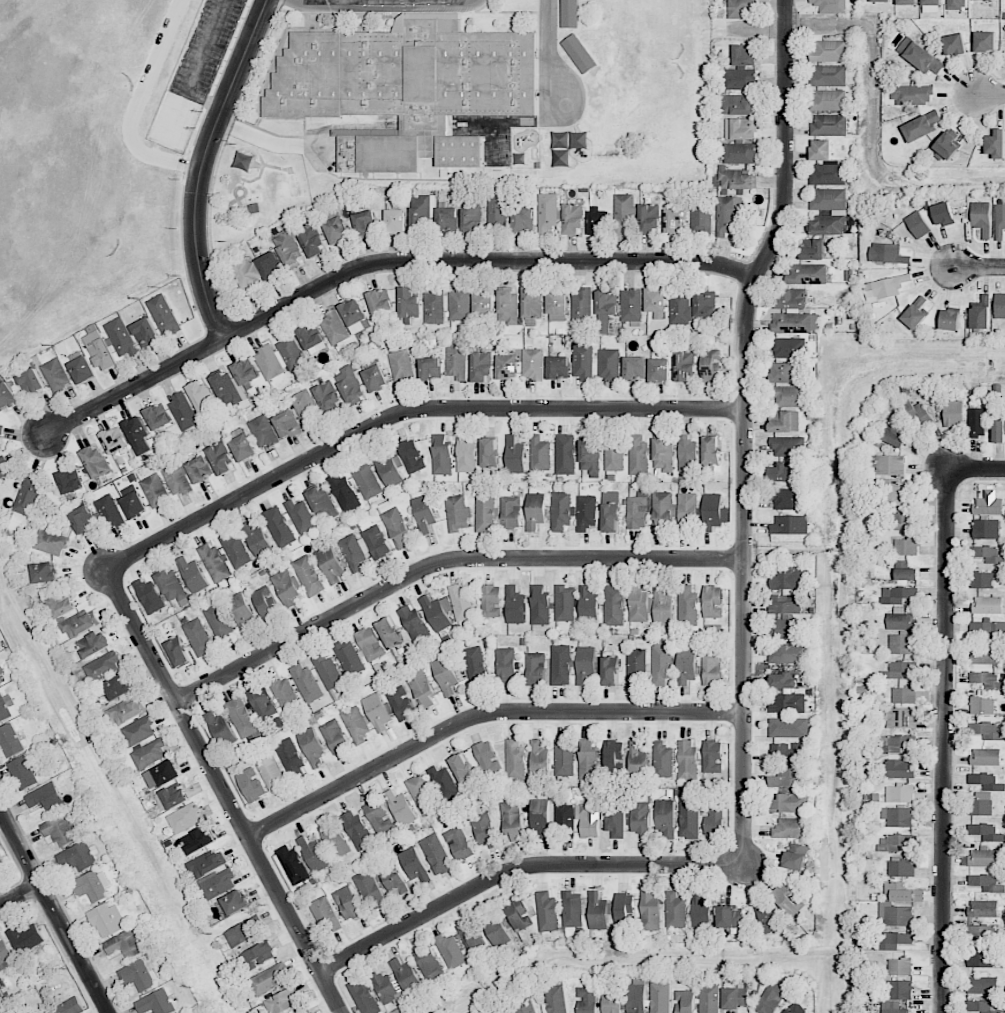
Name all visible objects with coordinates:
building: (881, 0)
building: (988, 0)
building: (907, 2)
building: (932, 2)
road: (386, 4)
building: (956, 4)
building: (830, 6)
building: (741, 8)
building: (570, 14)
building: (985, 41)
building: (954, 44)
building: (829, 51)
road: (548, 52)
building: (579, 53)
building: (920, 56)
building: (741, 68)
road: (196, 71)
building: (829, 75)
building: (404, 83)
road: (990, 93)
building: (912, 94)
building: (828, 100)
road: (205, 102)
building: (736, 105)
road: (136, 106)
building: (829, 124)
building: (921, 126)
building: (562, 140)
building: (740, 140)
road: (274, 143)
building: (996, 143)
building: (948, 145)
building: (821, 150)
building: (461, 152)
building: (561, 158)
road: (202, 165)
building: (828, 174)
building: (737, 179)
building: (497, 210)
building: (420, 212)
building: (547, 212)
building: (624, 212)
building: (839, 212)
building: (943, 214)
building: (728, 215)
building: (471, 217)
building: (701, 217)
building: (981, 218)
building: (523, 219)
building: (572, 219)
building: (649, 219)
building: (447, 220)
building: (677, 220)
building: (395, 221)
building: (1000, 221)
building: (365, 222)
building: (599, 222)
building: (917, 224)
building: (336, 230)
building: (310, 238)
building: (288, 248)
building: (813, 249)
building: (887, 253)
road: (382, 262)
building: (270, 265)
road: (979, 268)
building: (246, 273)
building: (808, 274)
building: (885, 287)
building: (791, 299)
building: (380, 301)
building: (483, 302)
building: (655, 302)
building: (408, 303)
building: (459, 304)
building: (583, 304)
building: (705, 304)
building: (531, 305)
building: (557, 305)
building: (631, 305)
building: (1000, 305)
building: (434, 306)
building: (508, 307)
building: (681, 308)
building: (606, 309)
building: (981, 311)
building: (164, 314)
building: (354, 316)
building: (914, 316)
building: (950, 320)
building: (795, 323)
building: (334, 327)
building: (145, 332)
building: (121, 338)
building: (312, 338)
building: (789, 347)
building: (100, 351)
building: (279, 357)
building: (456, 361)
building: (583, 362)
building: (533, 364)
building: (609, 364)
building: (711, 364)
building: (685, 365)
building: (401, 366)
building: (481, 366)
building: (507, 367)
building: (558, 367)
building: (635, 367)
building: (430, 368)
building: (82, 369)
building: (659, 370)
building: (783, 372)
building: (247, 374)
building: (56, 375)
building: (375, 378)
building: (31, 382)
building: (349, 384)
building: (227, 388)
building: (7, 396)
building: (201, 396)
building: (790, 396)
building: (327, 397)
building: (305, 406)
building: (183, 411)
building: (919, 413)
building: (953, 413)
road: (406, 414)
building: (157, 416)
building: (784, 421)
building: (976, 422)
building: (287, 424)
building: (1, 429)
road: (745, 429)
building: (263, 431)
building: (998, 431)
building: (138, 434)
building: (894, 435)
building: (114, 439)
building: (788, 446)
building: (710, 450)
building: (489, 452)
building: (539, 453)
building: (565, 454)
building: (663, 454)
building: (687, 454)
building: (411, 455)
building: (442, 455)
building: (466, 455)
building: (515, 455)
building: (614, 455)
building: (638, 455)
building: (589, 456)
building: (220, 458)
building: (95, 461)
building: (887, 465)
building: (5, 467)
building: (199, 469)
building: (390, 469)
road: (976, 469)
building: (784, 472)
building: (70, 481)
building: (366, 481)
building: (155, 490)
building: (343, 491)
building: (27, 495)
building: (894, 496)
building: (787, 498)
building: (133, 501)
building: (322, 503)
building: (988, 504)
building: (638, 509)
building: (535, 511)
building: (560, 511)
building: (610, 511)
building: (687, 511)
building: (713, 511)
building: (110, 512)
building: (457, 512)
building: (511, 512)
building: (586, 512)
building: (661, 512)
building: (486, 513)
building: (424, 514)
building: (300, 516)
building: (82, 519)
building: (897, 521)
building: (790, 524)
building: (279, 526)
building: (397, 528)
building: (986, 529)
building: (257, 538)
building: (50, 542)
building: (906, 546)
building: (364, 547)
building: (235, 550)
building: (988, 554)
building: (213, 562)
building: (330, 563)
road: (443, 563)
building: (906, 571)
building: (43, 572)
building: (192, 574)
building: (308, 575)
building: (791, 579)
building: (982, 580)
building: (170, 585)
building: (285, 587)
building: (898, 594)
building: (149, 596)
building: (491, 601)
building: (712, 601)
building: (265, 602)
building: (462, 603)
building: (565, 603)
building: (589, 604)
building: (785, 604)
building: (515, 605)
building: (540, 605)
building: (614, 605)
building: (640, 605)
building: (687, 605)
building: (987, 605)
building: (61, 606)
building: (662, 607)
building: (241, 611)
building: (438, 612)
building: (901, 619)
building: (218, 621)
building: (80, 623)
building: (414, 624)
building: (787, 628)
building: (987, 630)
building: (388, 631)
building: (198, 636)
building: (95, 643)
building: (369, 644)
building: (902, 644)
building: (178, 651)
building: (789, 653)
building: (985, 655)
building: (348, 657)
building: (505, 662)
building: (661, 663)
building: (561, 664)
building: (585, 664)
building: (686, 665)
building: (102, 666)
building: (636, 666)
building: (475, 667)
building: (535, 668)
building: (1, 669)
building: (712, 669)
building: (898, 669)
building: (327, 671)
building: (609, 671)
building: (445, 675)
building: (784, 680)
building: (987, 680)
building: (0, 682)
building: (305, 682)
building: (117, 687)
building: (422, 689)
building: (283, 692)
building: (904, 693)
building: (261, 702)
building: (401, 703)
building: (788, 703)
building: (982, 705)
building: (5, 707)
building: (125, 711)
building: (377, 712)
building: (241, 717)
road: (481, 717)
building: (901, 718)
building: (356, 724)
building: (789, 727)
building: (220, 729)
building: (138, 731)
building: (987, 731)
building: (335, 736)
building: (10, 741)
road: (944, 741)
building: (896, 743)
building: (312, 747)
building: (787, 752)
building: (148, 753)
building: (614, 754)
building: (289, 755)
building: (712, 756)
building: (985, 756)
building: (486, 758)
building: (564, 758)
building: (637, 758)
building: (515, 759)
building: (539, 759)
building: (588, 760)
building: (662, 760)
building: (687, 760)
building: (462, 767)
building: (901, 769)
building: (24, 772)
building: (271, 772)
building: (162, 774)
building: (789, 778)
building: (986, 781)
building: (444, 782)
building: (251, 784)
road: (223, 791)
building: (900, 792)
building: (423, 795)
building: (171, 796)
building: (45, 797)
building: (790, 803)
building: (980, 804)
building: (400, 807)
building: (714, 815)
building: (378, 816)
building: (184, 817)
building: (540, 817)
building: (663, 817)
building: (899, 817)
building: (689, 818)
building: (511, 819)
building: (589, 819)
building: (640, 819)
building: (565, 821)
building: (616, 821)
building: (791, 828)
building: (61, 829)
building: (356, 830)
building: (484, 831)
building: (986, 832)
building: (334, 839)
building: (199, 840)
building: (894, 842)
building: (459, 843)
building: (314, 854)
building: (436, 854)
building: (79, 856)
building: (796, 857)
building: (983, 857)
building: (207, 863)
building: (293, 864)
building: (2, 865)
building: (414, 865)
building: (902, 866)
road: (520, 869)
building: (392, 879)
building: (986, 883)
building: (218, 884)
building: (92, 886)
building: (369, 889)
building: (903, 892)
road: (19, 894)
building: (788, 899)
building: (234, 902)
building: (347, 903)
building: (983, 908)
building: (572, 909)
building: (624, 909)
building: (649, 910)
building: (675, 910)
road: (54, 911)
building: (598, 911)
building: (547, 912)
building: (701, 912)
building: (517, 913)
building: (324, 914)
building: (767, 915)
building: (900, 915)
building: (730, 916)
building: (107, 919)
building: (497, 930)
building: (980, 931)
building: (243, 932)
building: (471, 936)
building: (25, 937)
building: (896, 940)
building: (128, 943)
building: (450, 951)
building: (979, 955)
building: (5, 956)
building: (256, 956)
building: (428, 962)
building: (901, 964)
building: (137, 975)
building: (406, 975)
building: (268, 979)
building: (982, 984)
building: (386, 988)
building: (899, 990)
building: (364, 995)
building: (636, 995)
building: (660, 997)
building: (709, 998)
building: (735, 998)
building: (771, 998)
building: (556, 999)
building: (586, 1000)
building: (611, 1000)
building: (282, 1001)
building: (684, 1001)
building: (156, 1002)
building: (68, 1006)
building: (893, 1007)
building: (982, 1007)
building: (524, 1009)
building: (306, 1011)
building: (497, 1011)

